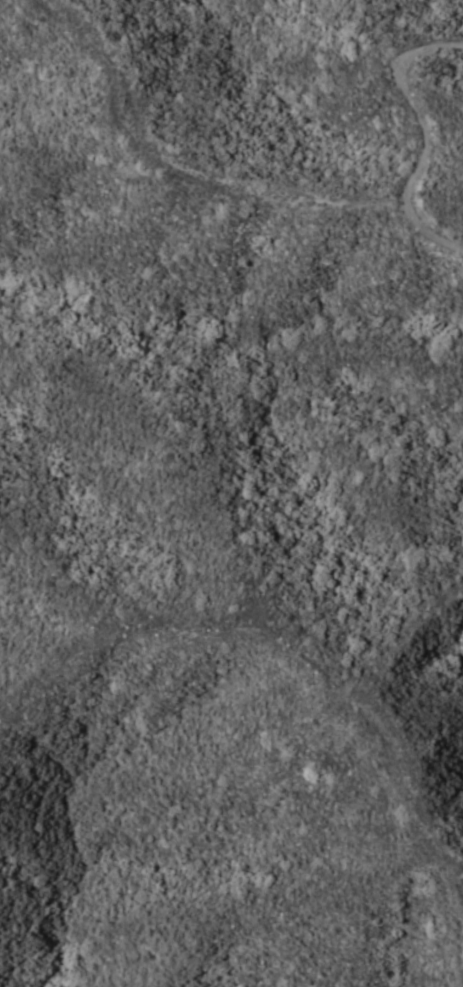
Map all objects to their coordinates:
road: (421, 136)
road: (193, 167)

